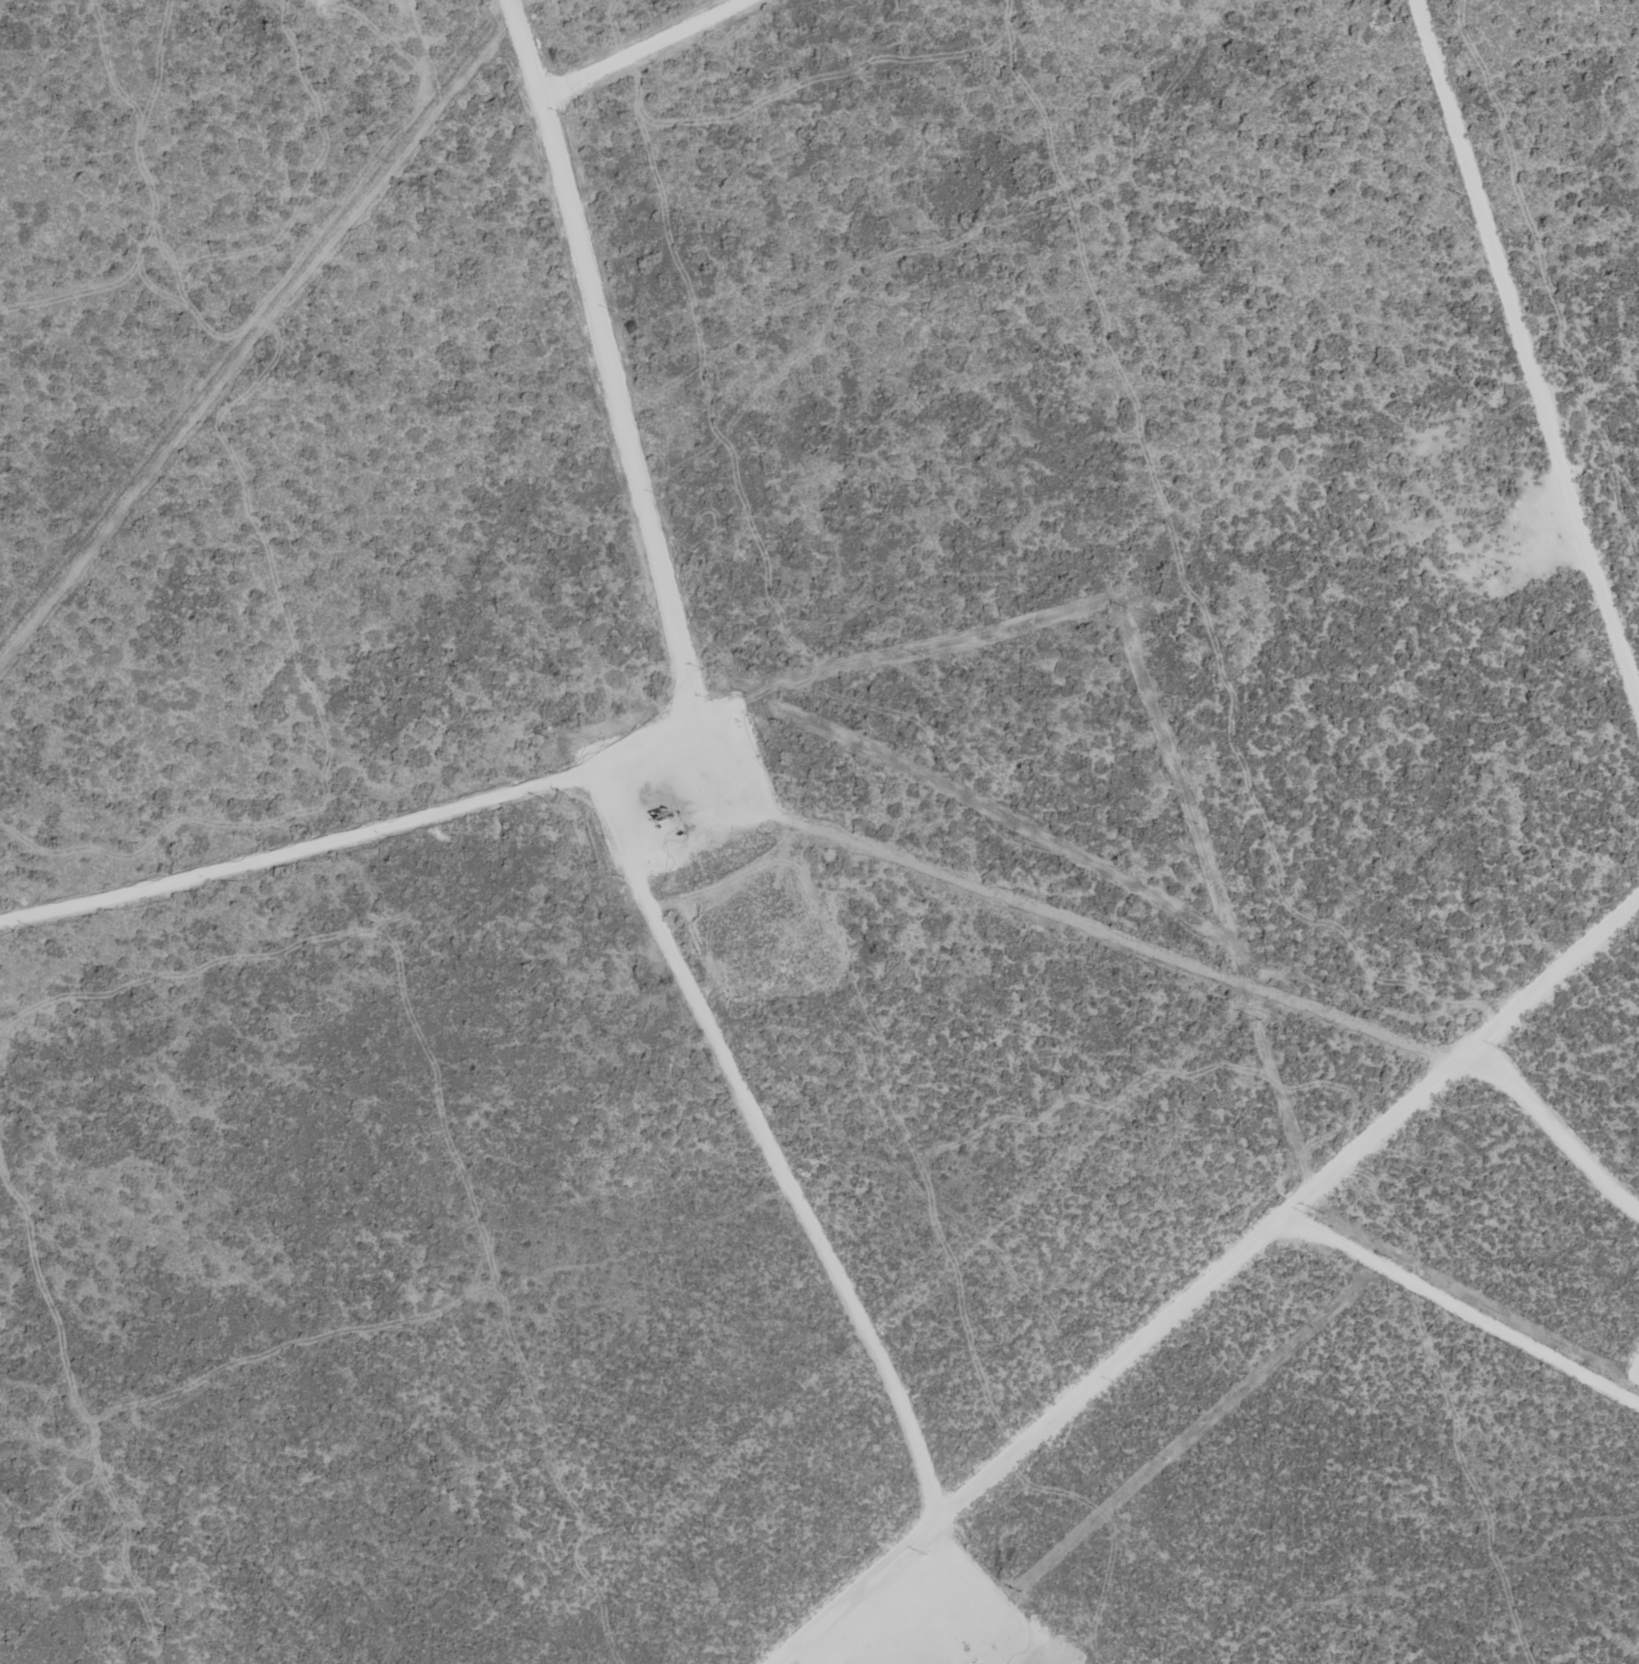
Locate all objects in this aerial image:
road: (1535, 314)
road: (1230, 1300)

